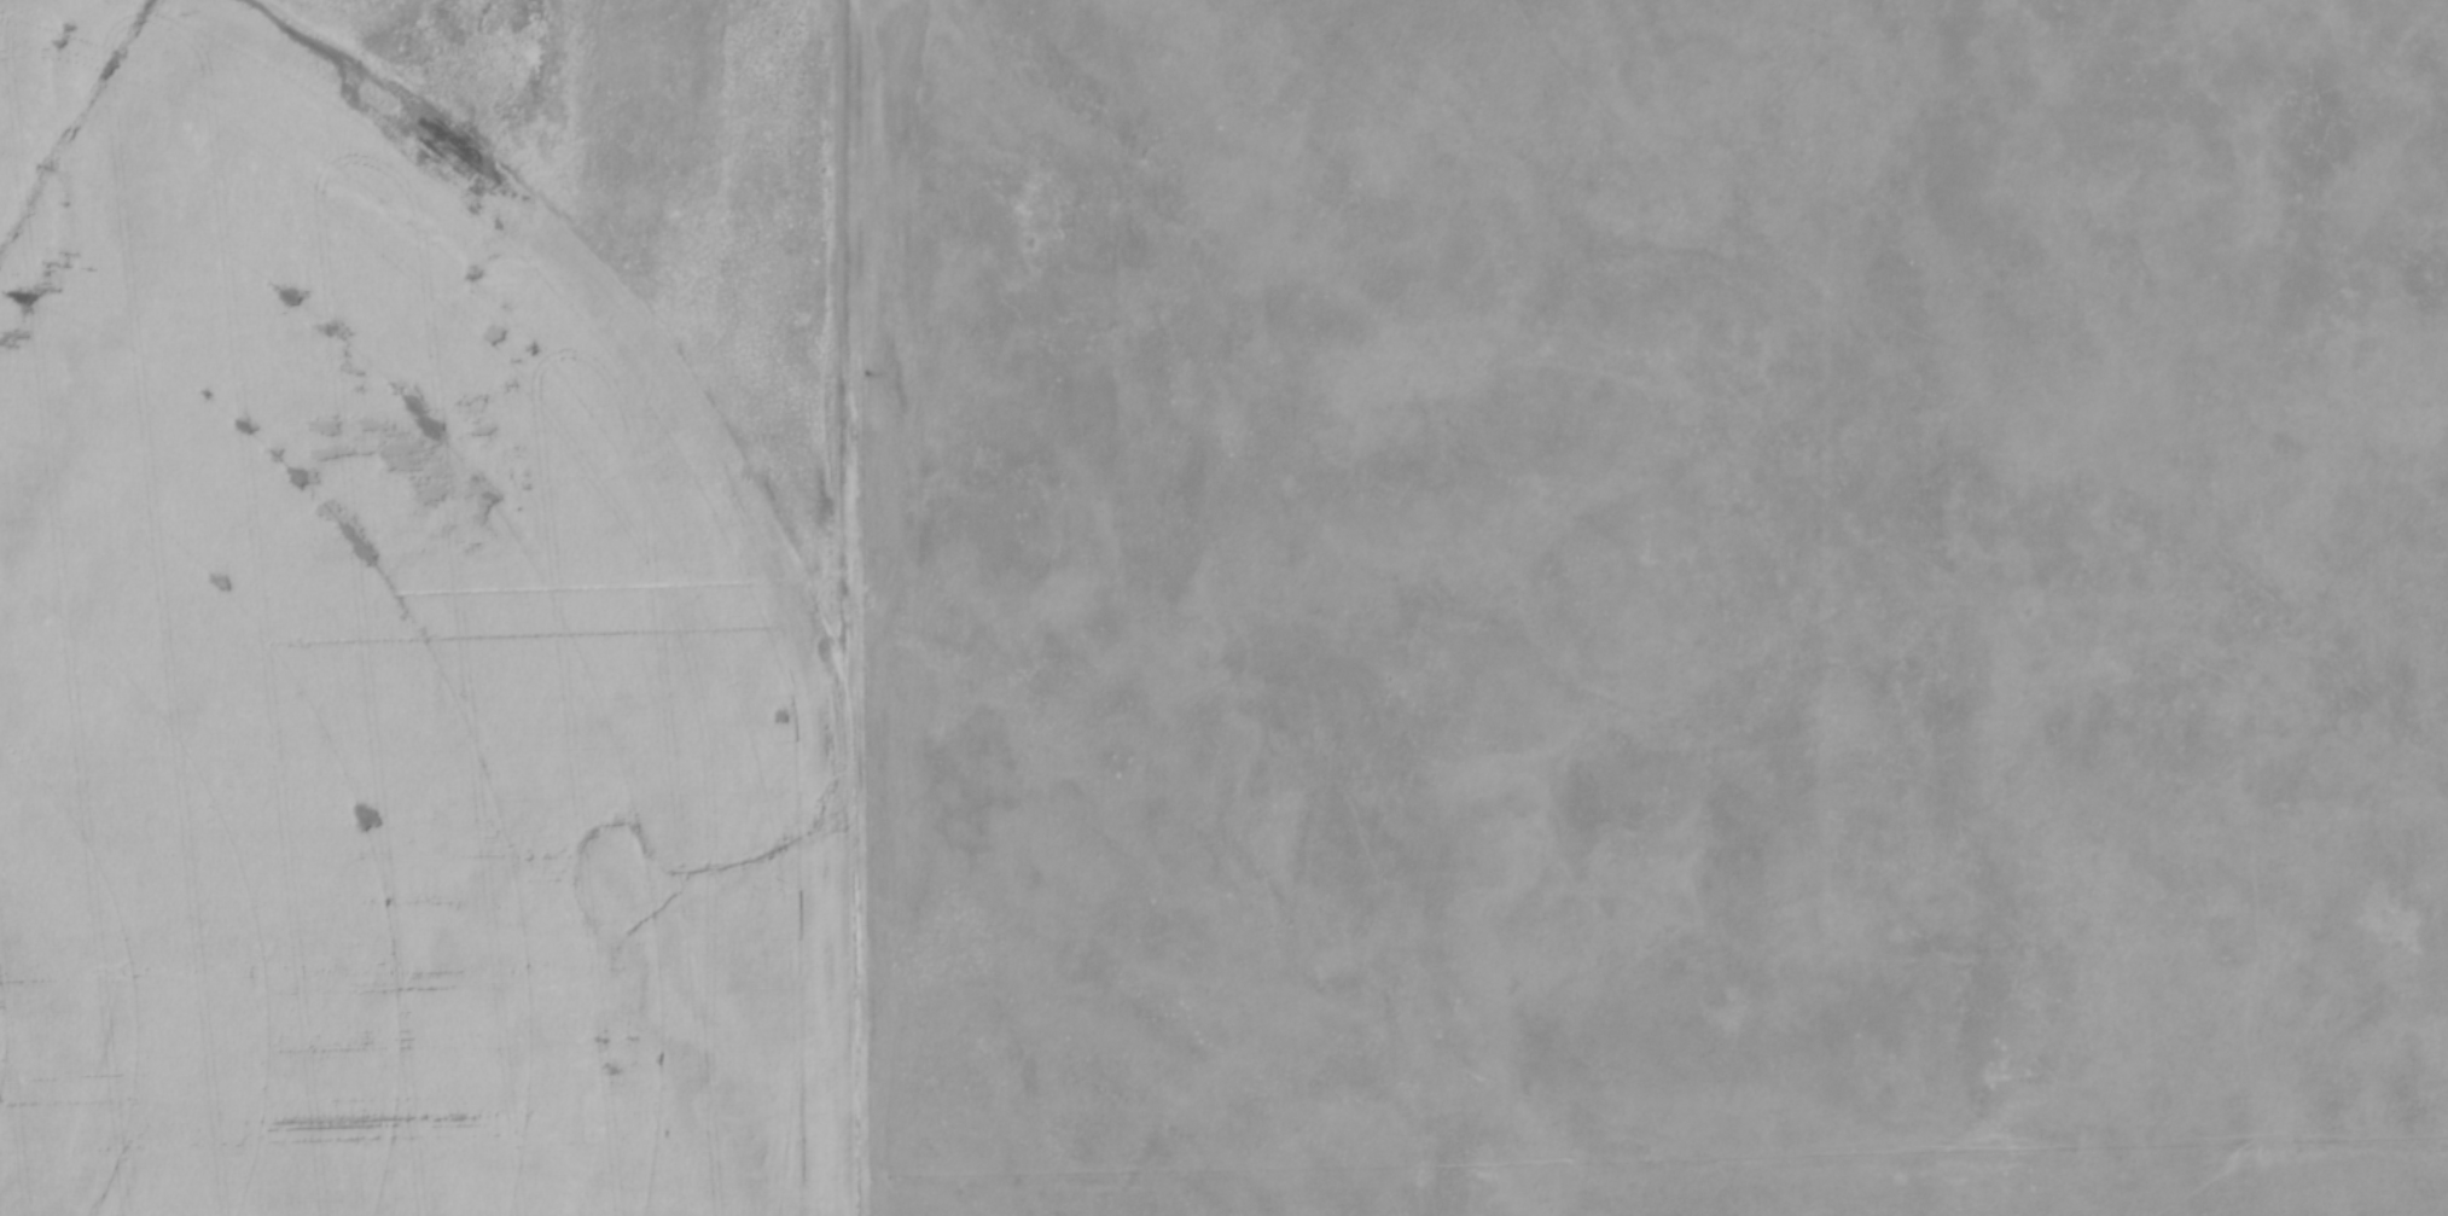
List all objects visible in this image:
road: (847, 607)

